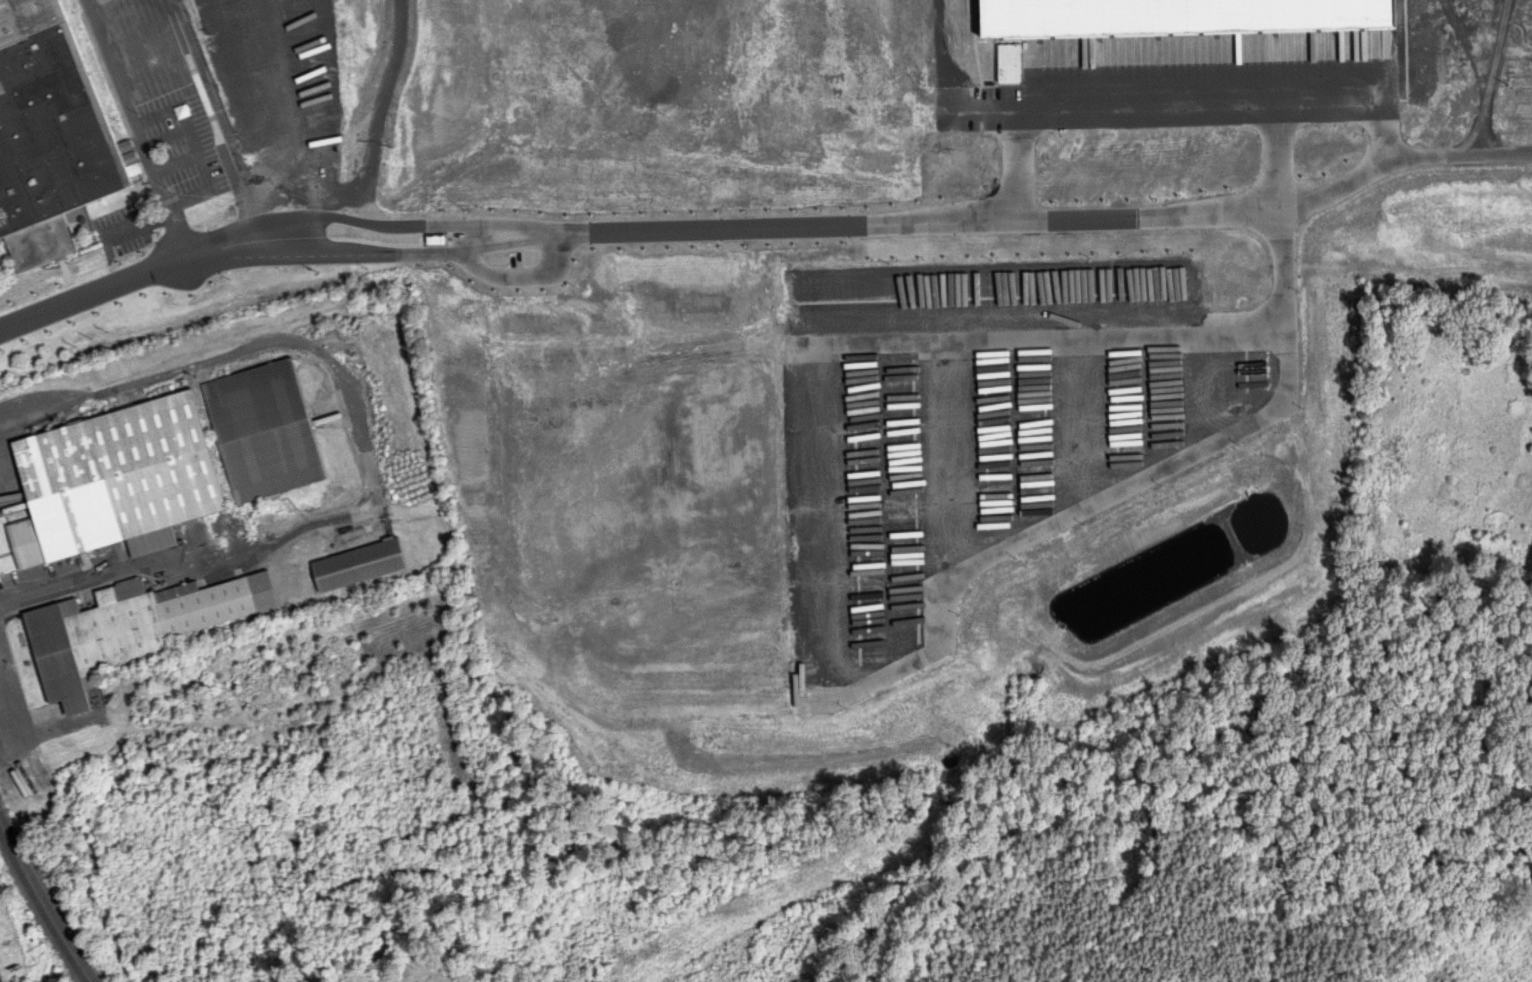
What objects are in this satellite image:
road: (125, 14)
road: (271, 62)
road: (230, 67)
road: (205, 88)
road: (1178, 99)
road: (379, 117)
road: (289, 125)
road: (133, 128)
building: (49, 136)
road: (221, 179)
road: (319, 186)
road: (1030, 222)
road: (417, 224)
road: (416, 250)
road: (155, 268)
road: (519, 276)
road: (1039, 339)
road: (1214, 387)
road: (1143, 405)
road: (1087, 421)
building: (267, 430)
road: (1016, 439)
road: (365, 453)
road: (960, 454)
road: (1151, 471)
building: (117, 480)
road: (887, 509)
road: (823, 524)
building: (358, 565)
building: (129, 629)
road: (1, 657)
road: (13, 696)
railway: (43, 900)
railway: (37, 912)

